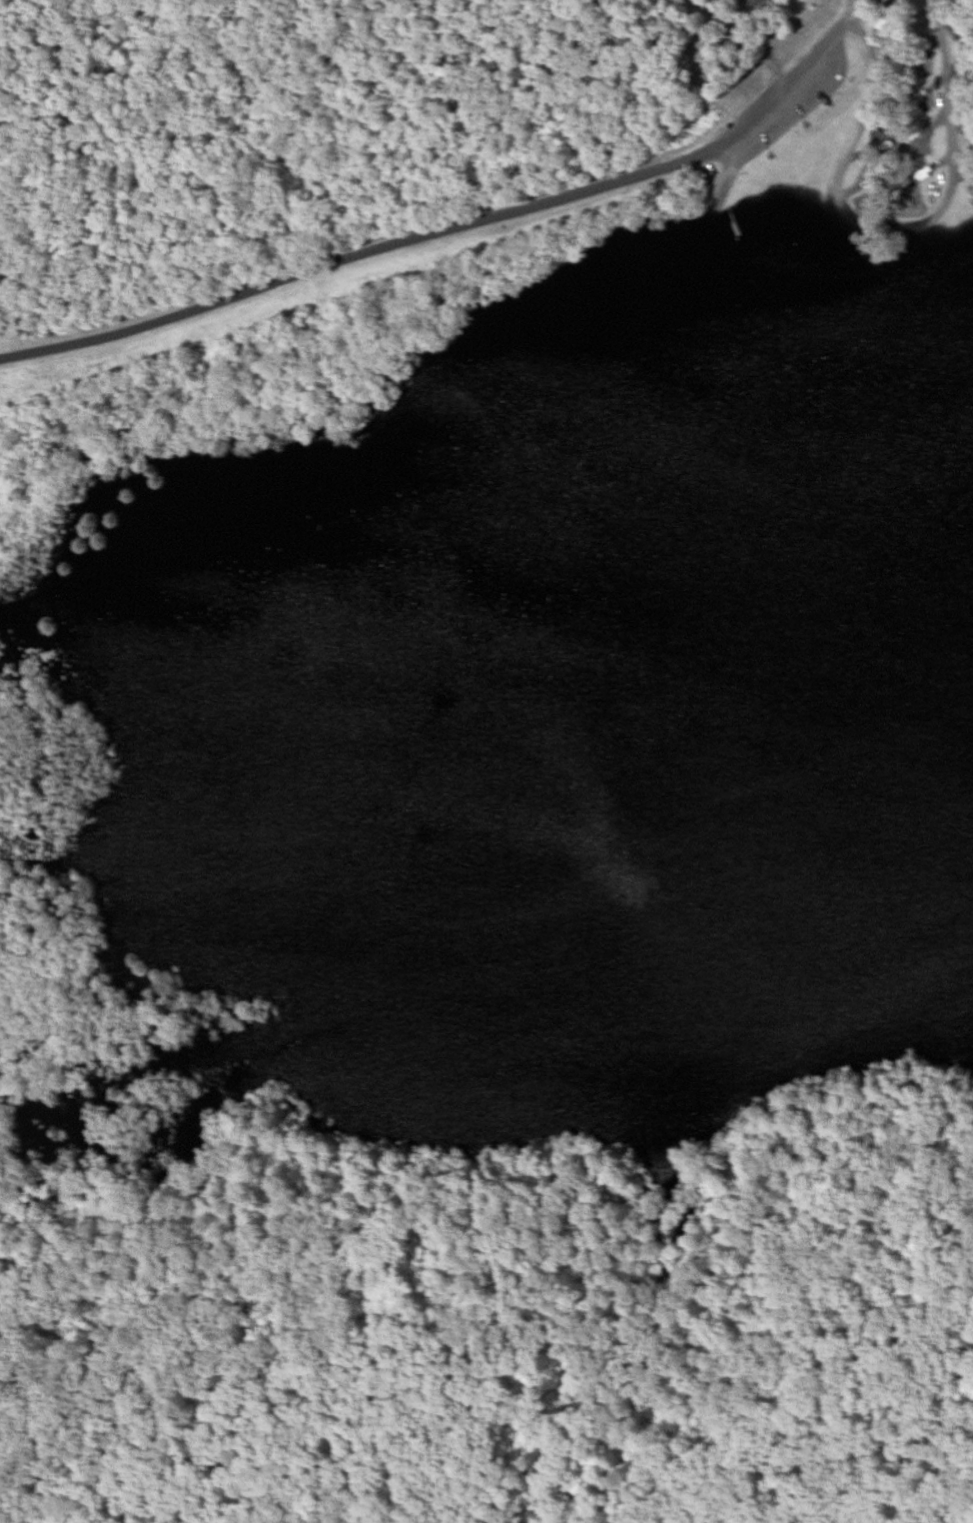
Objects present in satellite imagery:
road: (863, 2)
road: (963, 8)
road: (463, 227)
road: (898, 230)

